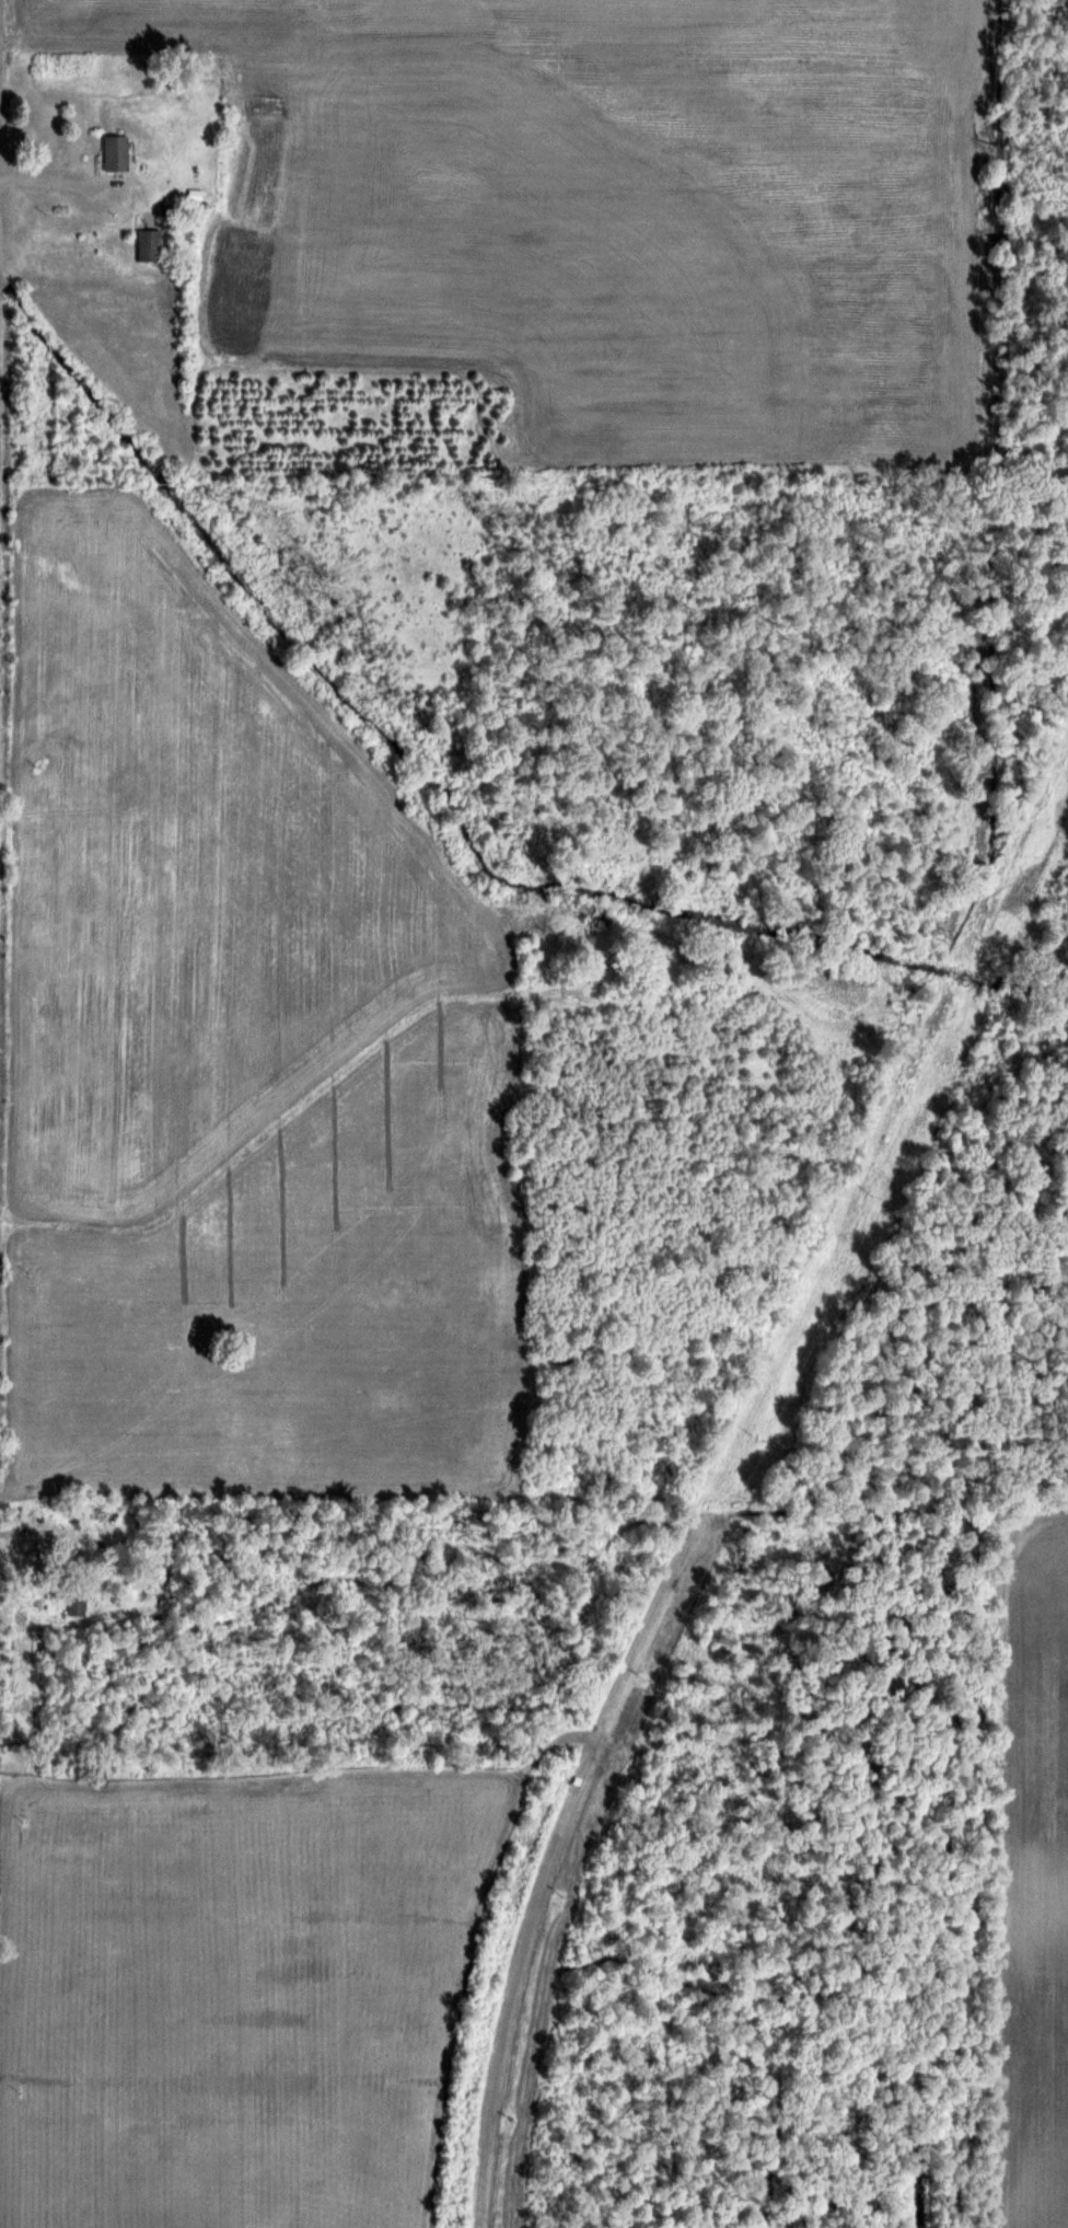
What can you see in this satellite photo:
building: (115, 152)
building: (149, 245)
building: (76, 1604)

